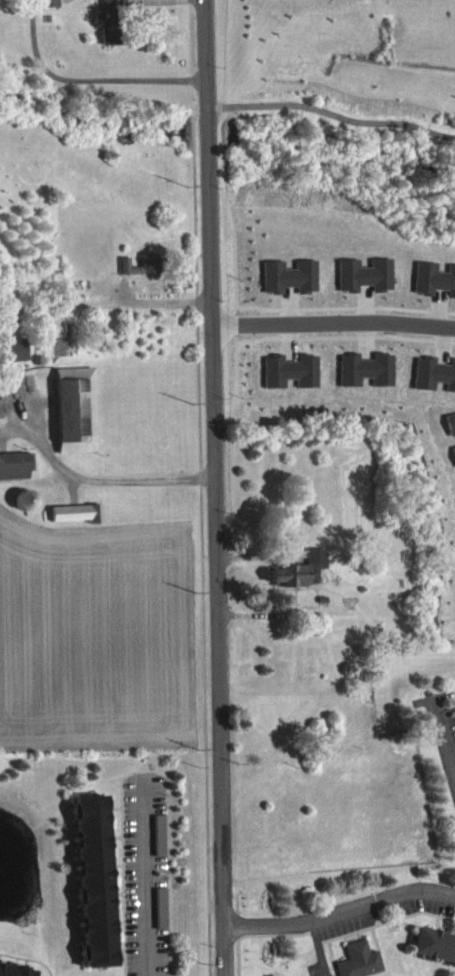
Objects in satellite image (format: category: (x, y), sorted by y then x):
building: (418, 0)
building: (277, 1)
building: (344, 1)
building: (105, 29)
road: (191, 59)
road: (87, 78)
road: (331, 112)
road: (228, 214)
building: (138, 274)
building: (362, 285)
building: (286, 287)
building: (433, 289)
road: (123, 300)
road: (332, 323)
building: (11, 360)
building: (364, 380)
building: (288, 381)
building: (433, 384)
building: (72, 424)
building: (0, 428)
building: (450, 434)
building: (453, 463)
building: (14, 476)
road: (97, 478)
road: (214, 487)
building: (75, 523)
road: (201, 540)
building: (298, 580)
road: (446, 732)
road: (145, 880)
building: (91, 891)
road: (340, 912)
building: (436, 944)
building: (363, 960)
building: (5, 975)

